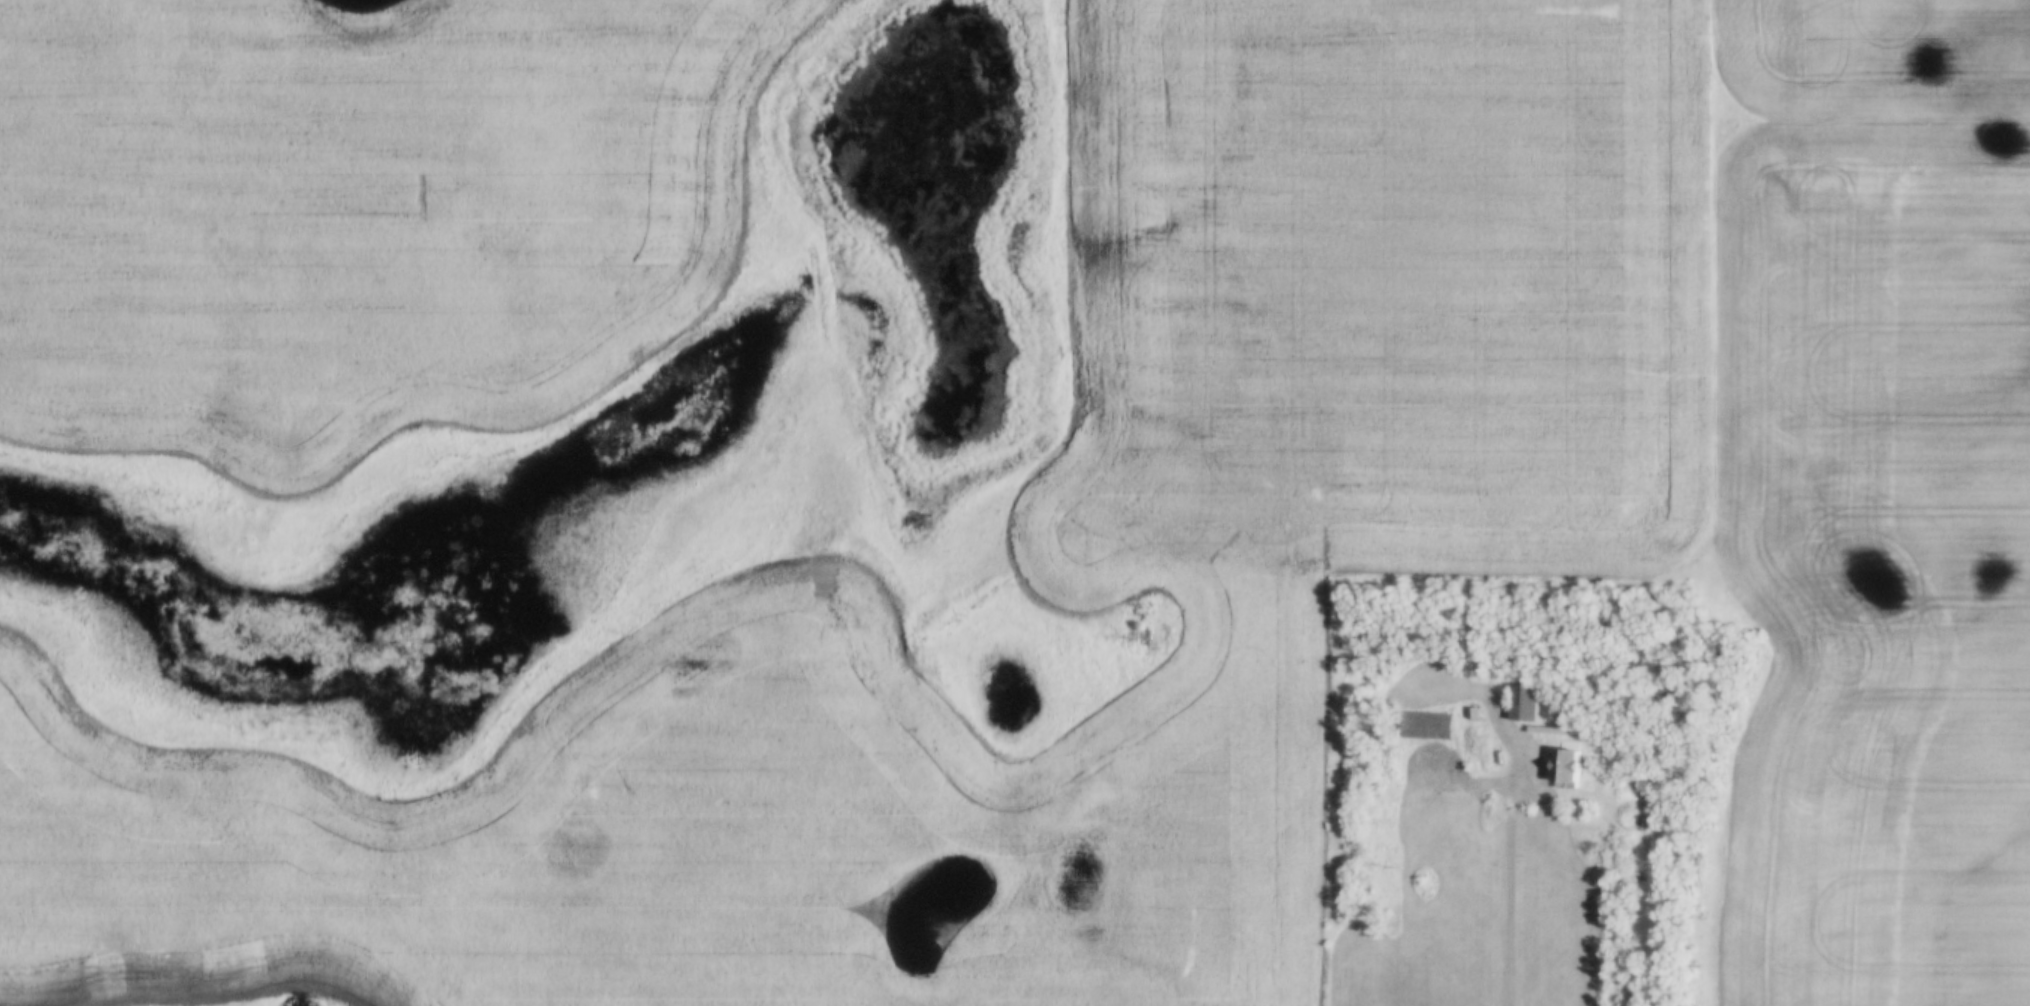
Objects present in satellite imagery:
building: (1529, 702)
building: (1428, 726)
road: (1512, 868)

